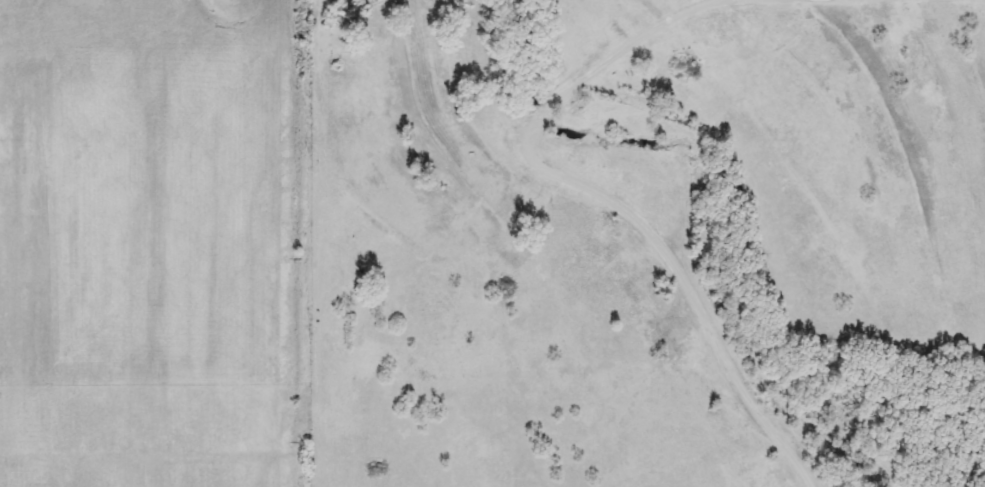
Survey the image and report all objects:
road: (607, 198)
airport: (147, 243)

